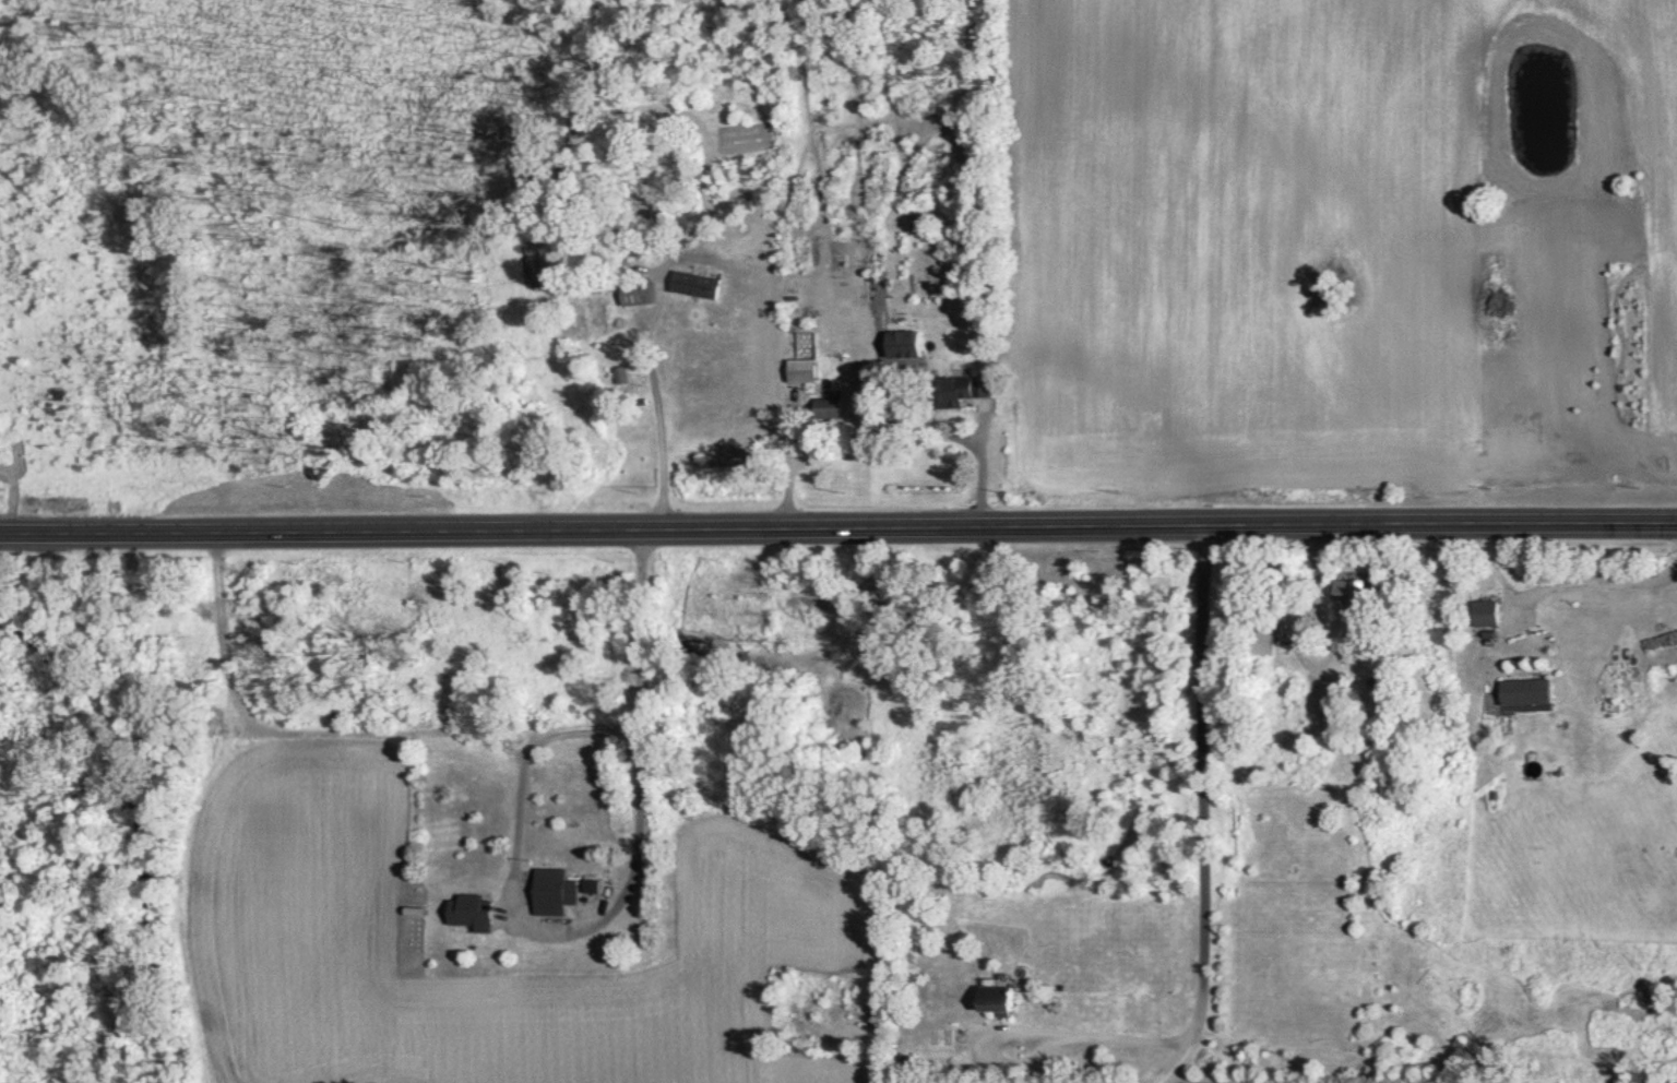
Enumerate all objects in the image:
building: (638, 291)
building: (596, 308)
building: (904, 342)
building: (802, 368)
building: (621, 372)
building: (961, 388)
building: (829, 406)
road: (652, 424)
road: (974, 468)
road: (789, 473)
road: (838, 525)
road: (1556, 585)
building: (1355, 595)
building: (1487, 611)
building: (1268, 620)
building: (1265, 641)
building: (1526, 690)
road: (638, 774)
road: (520, 778)
road: (1202, 809)
building: (551, 895)
building: (473, 908)
building: (999, 993)
road: (1094, 1050)

